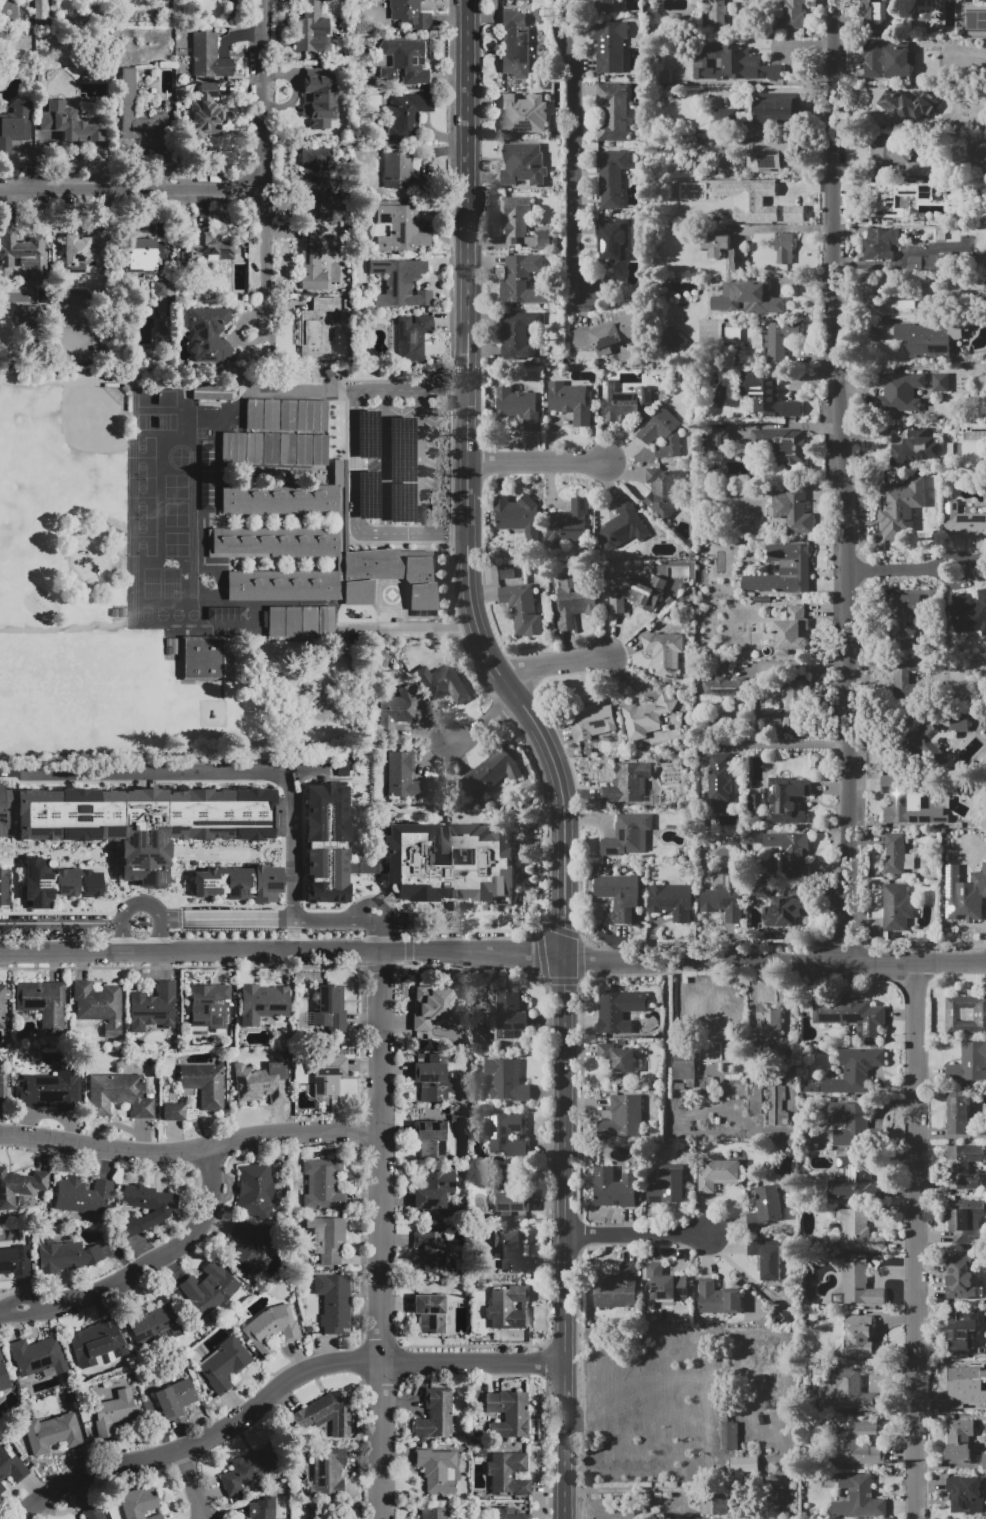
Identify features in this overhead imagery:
building: (514, 0)
building: (604, 5)
building: (717, 12)
building: (410, 13)
building: (791, 15)
building: (540, 16)
building: (874, 16)
building: (311, 28)
building: (609, 44)
building: (515, 45)
building: (208, 58)
building: (408, 60)
building: (873, 61)
building: (899, 62)
building: (736, 64)
building: (128, 90)
building: (322, 92)
building: (908, 104)
building: (772, 108)
building: (612, 112)
building: (205, 113)
building: (523, 114)
building: (725, 114)
building: (407, 115)
building: (15, 124)
building: (71, 124)
road: (572, 149)
building: (888, 150)
building: (768, 155)
road: (258, 162)
building: (523, 165)
building: (727, 166)
building: (920, 169)
building: (400, 170)
building: (611, 175)
building: (314, 182)
road: (129, 184)
building: (773, 197)
building: (883, 204)
building: (515, 218)
building: (402, 230)
building: (941, 234)
building: (611, 239)
building: (544, 240)
building: (881, 243)
building: (716, 245)
building: (205, 248)
building: (785, 248)
building: (24, 253)
building: (84, 253)
building: (139, 255)
building: (982, 257)
building: (311, 259)
road: (902, 260)
building: (736, 261)
building: (929, 262)
building: (522, 279)
building: (400, 283)
building: (748, 299)
building: (905, 304)
building: (32, 310)
building: (317, 328)
building: (210, 333)
building: (731, 333)
building: (608, 334)
building: (517, 335)
building: (412, 337)
building: (672, 339)
building: (776, 339)
building: (928, 340)
road: (261, 346)
building: (941, 383)
road: (443, 389)
building: (901, 391)
building: (212, 392)
building: (766, 397)
building: (571, 401)
building: (621, 402)
building: (518, 407)
building: (253, 413)
building: (271, 414)
building: (287, 415)
building: (311, 415)
park: (94, 419)
road: (358, 429)
building: (663, 434)
building: (717, 440)
building: (233, 446)
building: (778, 446)
building: (254, 447)
building: (914, 447)
building: (270, 448)
building: (287, 448)
building: (303, 449)
building: (320, 450)
park: (142, 457)
road: (385, 460)
road: (422, 460)
road: (840, 461)
road: (536, 462)
parking lot: (397, 463)
building: (206, 475)
park: (26, 479)
building: (206, 488)
building: (664, 490)
park: (142, 498)
building: (279, 499)
building: (206, 502)
building: (902, 503)
building: (794, 508)
building: (519, 517)
building: (573, 521)
building: (965, 525)
building: (623, 526)
road: (411, 532)
park: (143, 537)
building: (273, 543)
building: (784, 570)
road: (912, 571)
building: (507, 573)
building: (392, 576)
building: (282, 585)
building: (634, 592)
building: (573, 601)
building: (522, 609)
building: (968, 613)
building: (226, 614)
building: (276, 615)
building: (319, 615)
building: (900, 620)
building: (307, 621)
building: (791, 631)
building: (168, 642)
building: (174, 646)
building: (664, 653)
building: (202, 657)
road: (553, 663)
road: (789, 665)
building: (909, 678)
building: (443, 682)
building: (725, 688)
park: (74, 693)
building: (794, 704)
building: (397, 711)
building: (647, 716)
building: (773, 717)
building: (591, 721)
building: (959, 723)
road: (484, 724)
building: (914, 730)
road: (785, 745)
road: (547, 750)
road: (4, 769)
building: (499, 769)
road: (225, 770)
building: (402, 777)
building: (720, 782)
building: (628, 783)
building: (786, 800)
building: (756, 801)
building: (907, 802)
building: (2, 813)
building: (149, 819)
building: (627, 837)
building: (326, 841)
building: (791, 851)
building: (896, 855)
building: (450, 863)
building: (56, 880)
building: (239, 882)
building: (4, 886)
building: (619, 890)
building: (762, 890)
building: (966, 895)
building: (726, 899)
building: (672, 900)
road: (139, 904)
building: (897, 907)
building: (785, 911)
road: (297, 919)
road: (60, 923)
road: (834, 941)
road: (853, 942)
road: (281, 951)
road: (774, 959)
building: (42, 1002)
building: (262, 1003)
building: (2, 1006)
building: (98, 1006)
building: (208, 1007)
building: (153, 1008)
building: (330, 1008)
building: (433, 1008)
building: (619, 1010)
building: (510, 1015)
building: (966, 1015)
building: (851, 1016)
building: (770, 1019)
building: (618, 1061)
building: (969, 1063)
building: (683, 1066)
building: (856, 1071)
building: (327, 1075)
building: (433, 1077)
building: (506, 1079)
building: (204, 1084)
building: (259, 1084)
building: (2, 1088)
building: (54, 1088)
building: (119, 1095)
building: (775, 1105)
building: (174, 1112)
building: (957, 1112)
building: (623, 1118)
building: (854, 1126)
building: (508, 1134)
building: (429, 1140)
road: (188, 1148)
building: (962, 1167)
building: (717, 1174)
building: (856, 1179)
building: (322, 1183)
building: (669, 1185)
building: (19, 1186)
building: (615, 1188)
building: (433, 1189)
building: (255, 1190)
building: (83, 1196)
building: (514, 1202)
building: (766, 1207)
building: (145, 1208)
building: (966, 1220)
road: (638, 1233)
building: (857, 1233)
road: (381, 1234)
building: (325, 1238)
road: (913, 1239)
building: (247, 1247)
building: (512, 1250)
building: (430, 1251)
building: (65, 1255)
building: (767, 1258)
building: (13, 1261)
road: (142, 1266)
building: (960, 1278)
building: (664, 1282)
building: (859, 1286)
building: (207, 1288)
building: (617, 1288)
building: (718, 1298)
building: (334, 1302)
building: (509, 1307)
building: (431, 1314)
building: (784, 1316)
building: (158, 1322)
building: (271, 1328)
building: (961, 1337)
building: (863, 1339)
building: (98, 1345)
building: (37, 1357)
building: (225, 1363)
building: (3, 1377)
building: (958, 1385)
road: (274, 1388)
building: (854, 1391)
building: (174, 1398)
building: (113, 1411)
building: (510, 1413)
building: (327, 1414)
building: (435, 1414)
building: (52, 1433)
building: (728, 1435)
building: (963, 1443)
building: (856, 1445)
building: (743, 1464)
building: (12, 1467)
building: (250, 1467)
building: (437, 1470)
building: (326, 1473)
building: (508, 1474)
road: (192, 1484)
road: (628, 1488)
building: (968, 1493)
building: (858, 1498)
building: (139, 1503)
building: (715, 1504)
building: (258, 1509)
building: (93, 1513)
building: (433, 1513)
building: (509, 1513)

